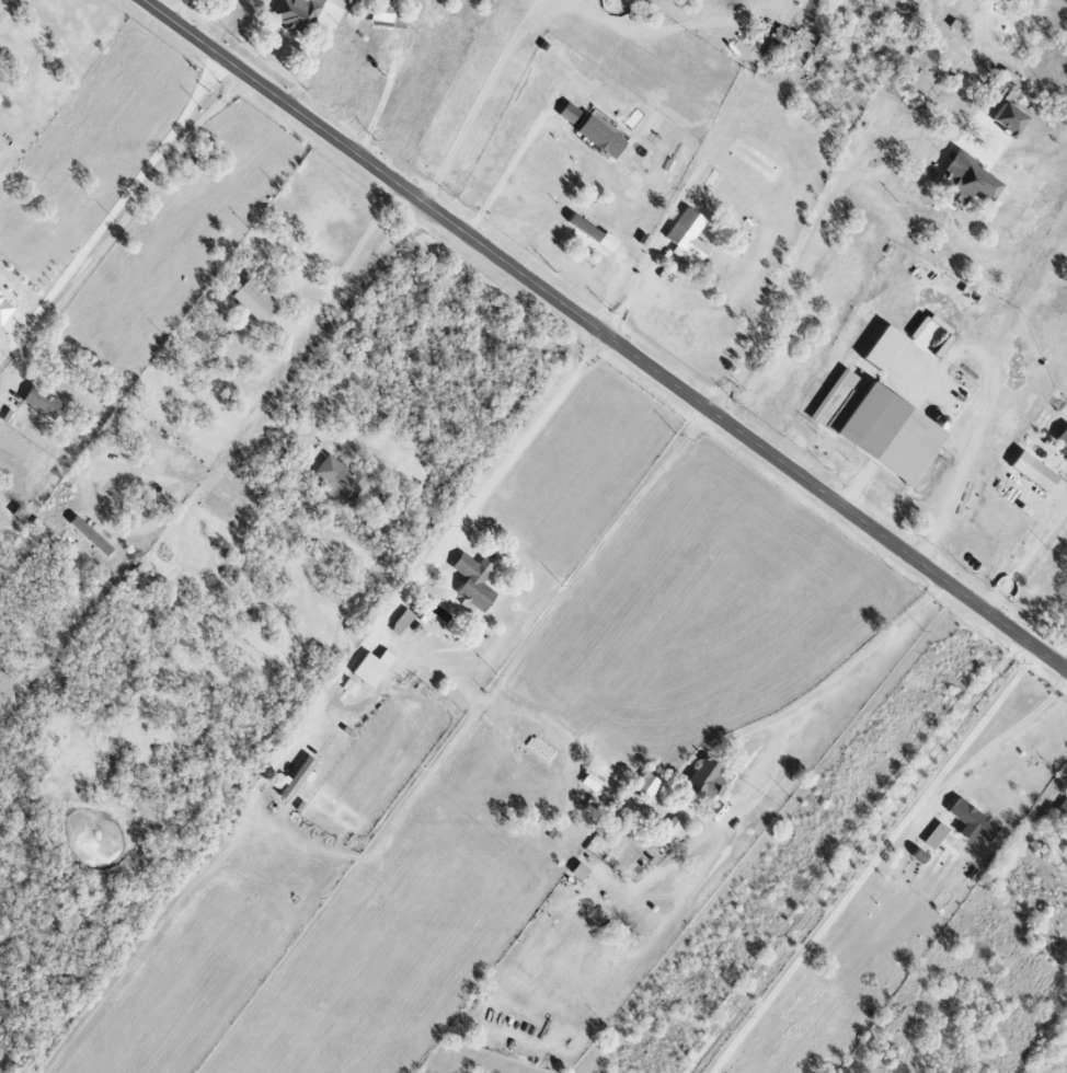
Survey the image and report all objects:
road: (7, 8)
building: (385, 12)
building: (299, 14)
building: (919, 81)
road: (385, 97)
building: (0, 104)
building: (634, 118)
building: (1012, 119)
building: (604, 137)
road: (520, 158)
building: (968, 182)
road: (112, 208)
road: (126, 223)
building: (594, 232)
building: (690, 239)
road: (799, 266)
road: (340, 276)
building: (1, 289)
road: (634, 291)
building: (256, 301)
road: (341, 309)
building: (5, 311)
road: (606, 335)
building: (886, 348)
building: (233, 353)
building: (45, 403)
road: (978, 423)
road: (376, 426)
building: (882, 427)
building: (1064, 442)
road: (117, 468)
building: (1037, 472)
building: (342, 481)
building: (93, 536)
road: (448, 541)
road: (1026, 557)
building: (477, 582)
building: (375, 668)
road: (841, 672)
road: (997, 741)
building: (596, 777)
building: (301, 778)
building: (708, 780)
building: (649, 786)
building: (1062, 811)
building: (975, 822)
building: (677, 828)
building: (938, 837)
road: (853, 856)
road: (876, 862)
building: (582, 872)

